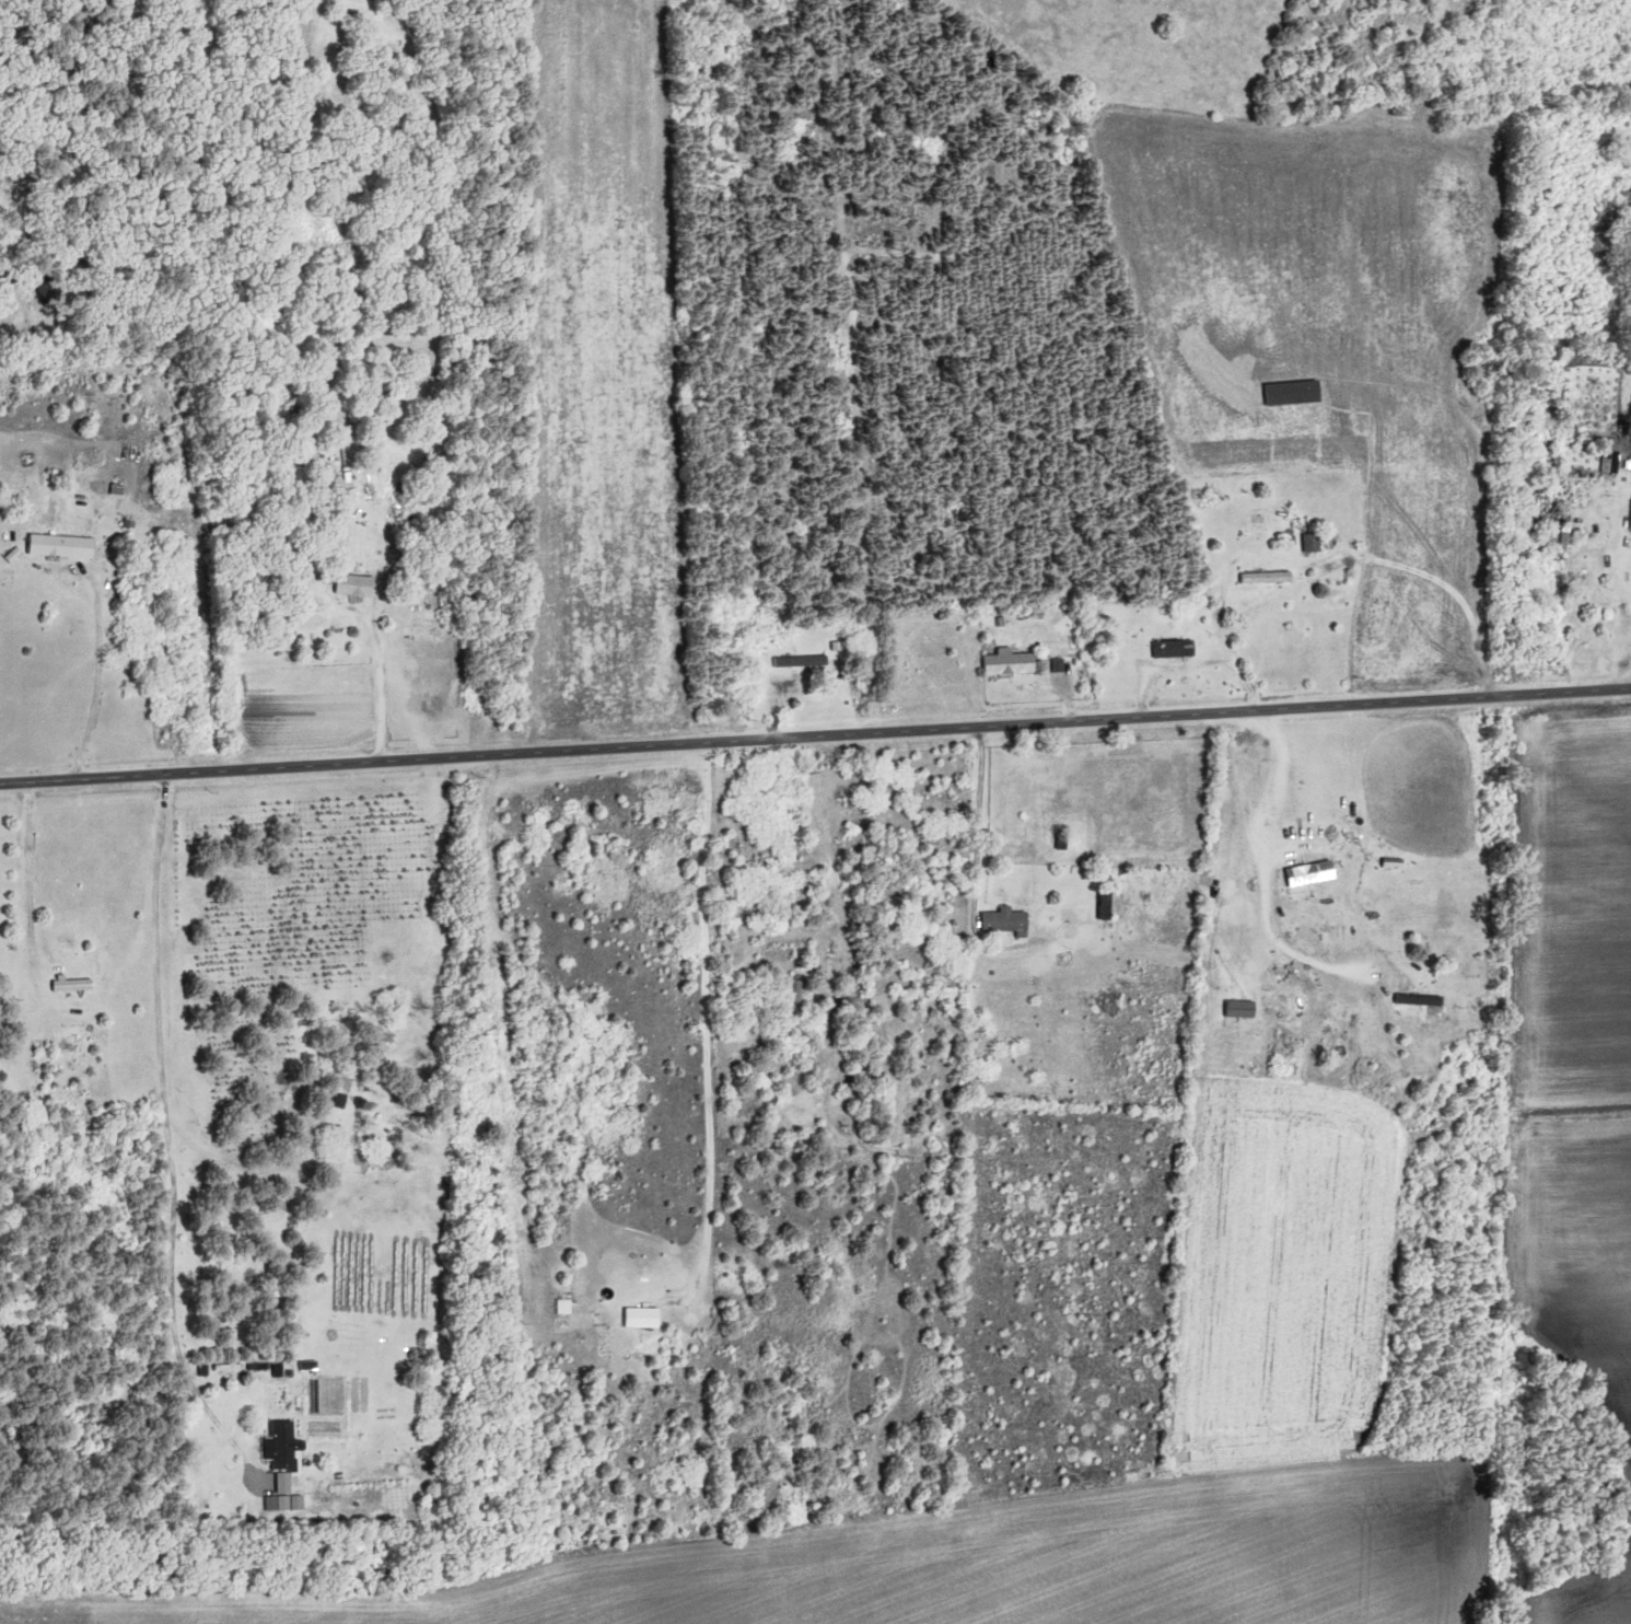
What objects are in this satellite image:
building: (1486, 370)
building: (1323, 543)
building: (65, 546)
building: (1271, 578)
building: (358, 583)
building: (1180, 650)
building: (1015, 664)
road: (97, 680)
road: (815, 733)
road: (1261, 866)
building: (1316, 874)
building: (1011, 921)
building: (789, 950)
building: (1286, 972)
building: (78, 986)
building: (1423, 1000)
building: (1330, 1030)
building: (1350, 1030)
road: (170, 1137)
building: (380, 1160)
road: (657, 1243)
building: (646, 1319)

